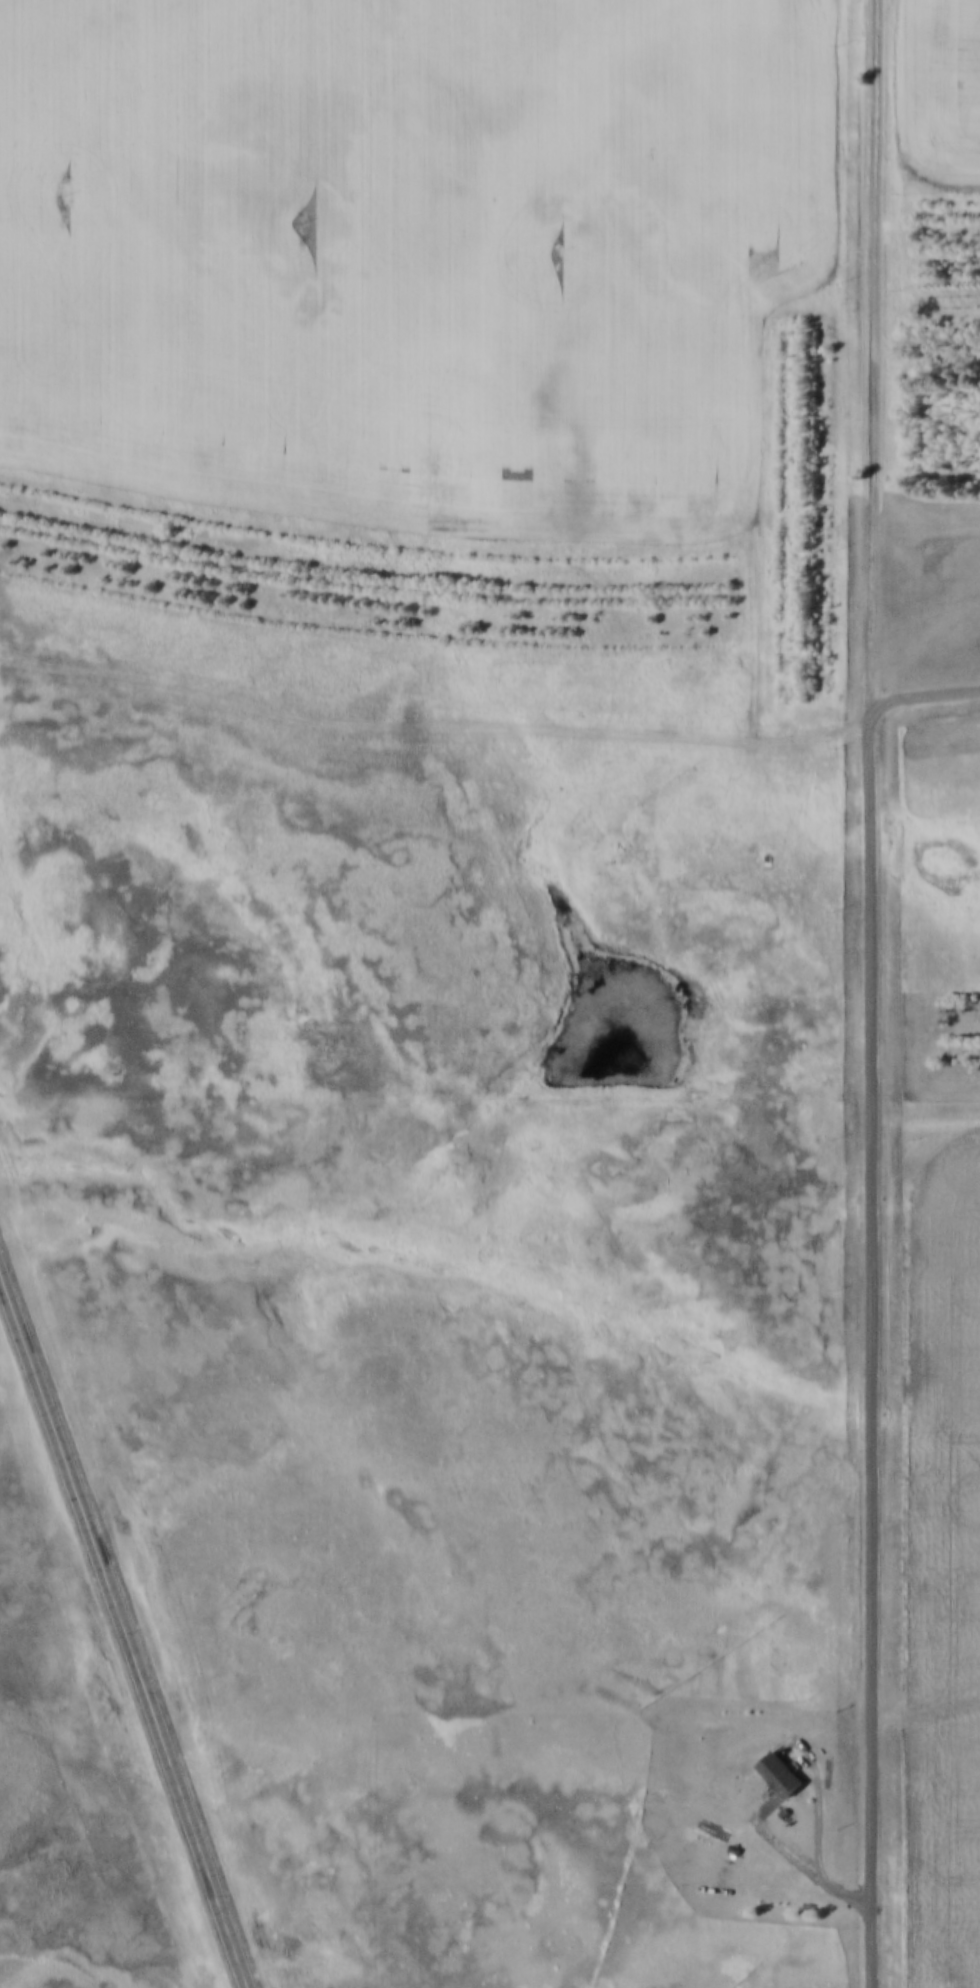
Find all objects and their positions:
road: (879, 355)
road: (927, 701)
road: (442, 718)
road: (874, 1350)
road: (128, 1619)
road: (927, 1712)
building: (780, 1775)
building: (753, 1803)

